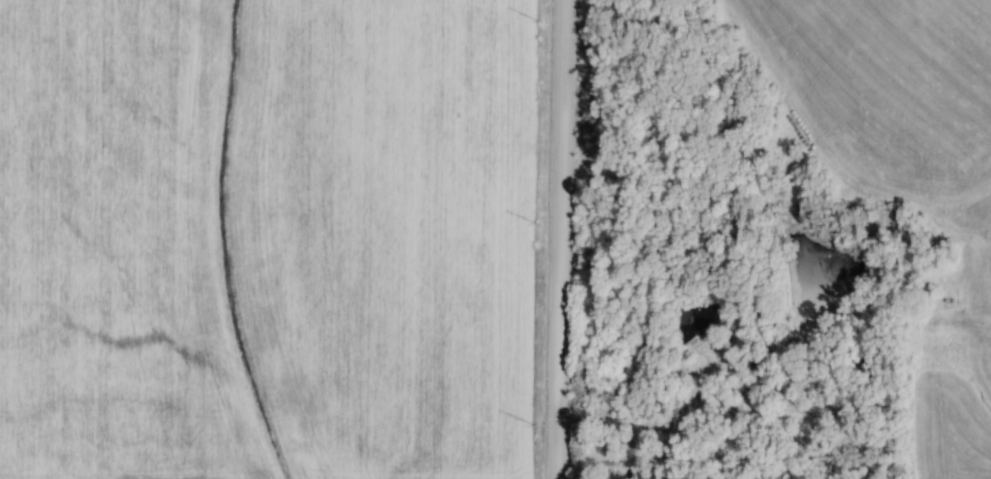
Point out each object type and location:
road: (561, 239)
building: (691, 320)
road: (662, 427)
building: (645, 470)

